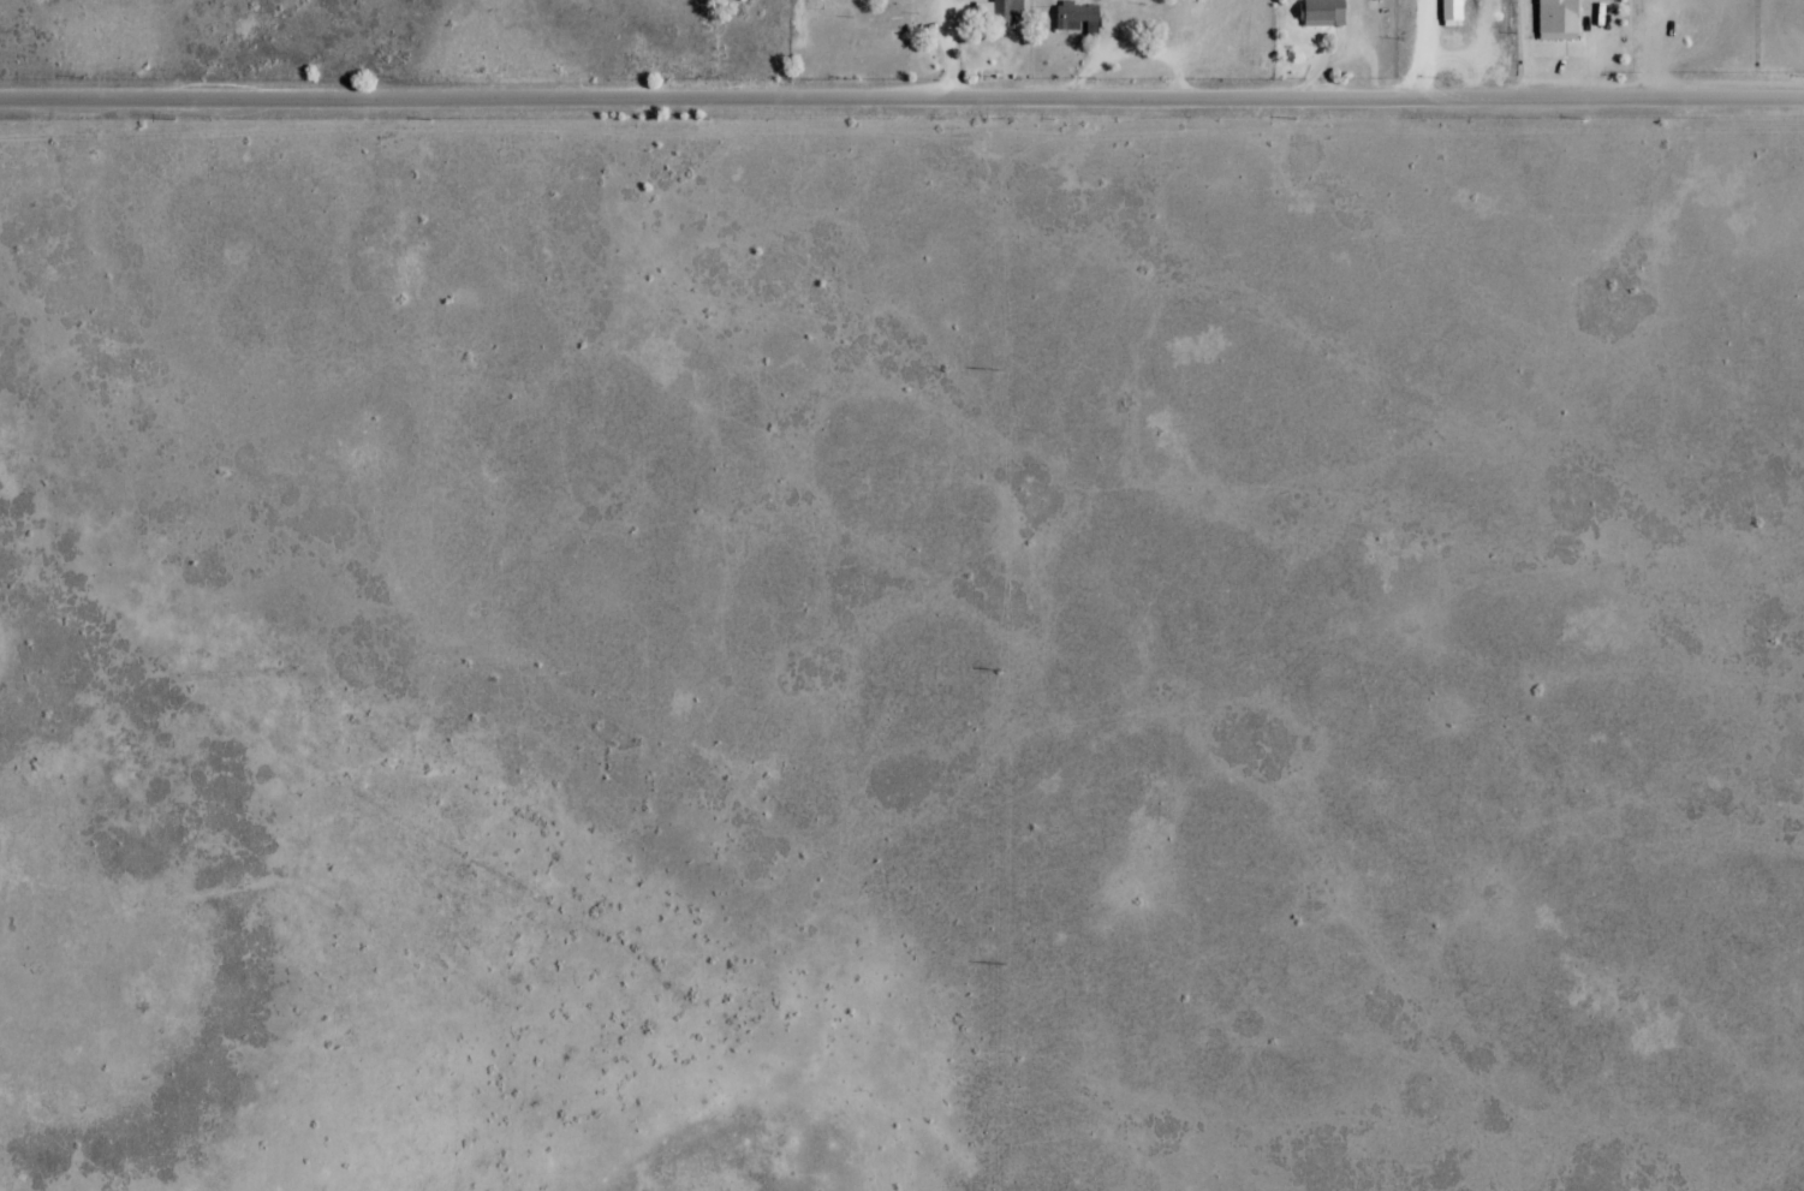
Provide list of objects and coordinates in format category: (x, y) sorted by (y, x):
building: (1451, 10)
building: (1007, 11)
building: (1323, 13)
building: (1556, 19)
road: (988, 100)
road: (85, 101)

